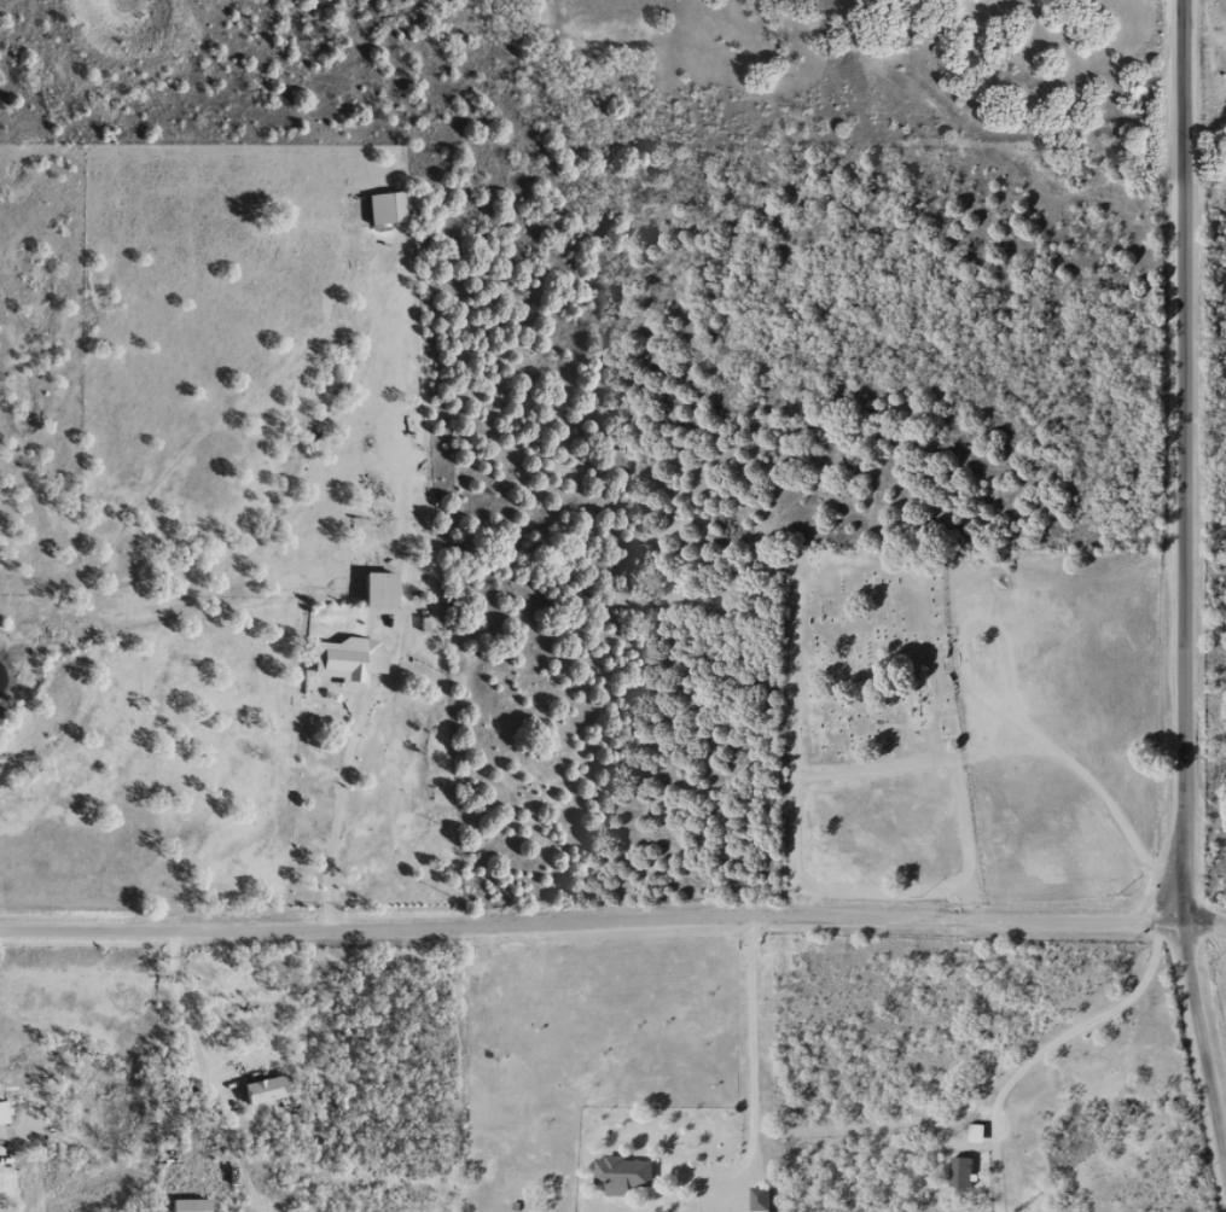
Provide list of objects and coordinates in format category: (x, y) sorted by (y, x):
building: (382, 208)
road: (1150, 606)
building: (825, 607)
park: (864, 649)
building: (344, 659)
road: (1019, 701)
road: (612, 949)
building: (263, 1089)
building: (1, 1113)
building: (974, 1132)
building: (958, 1171)
building: (621, 1175)
building: (185, 1205)

